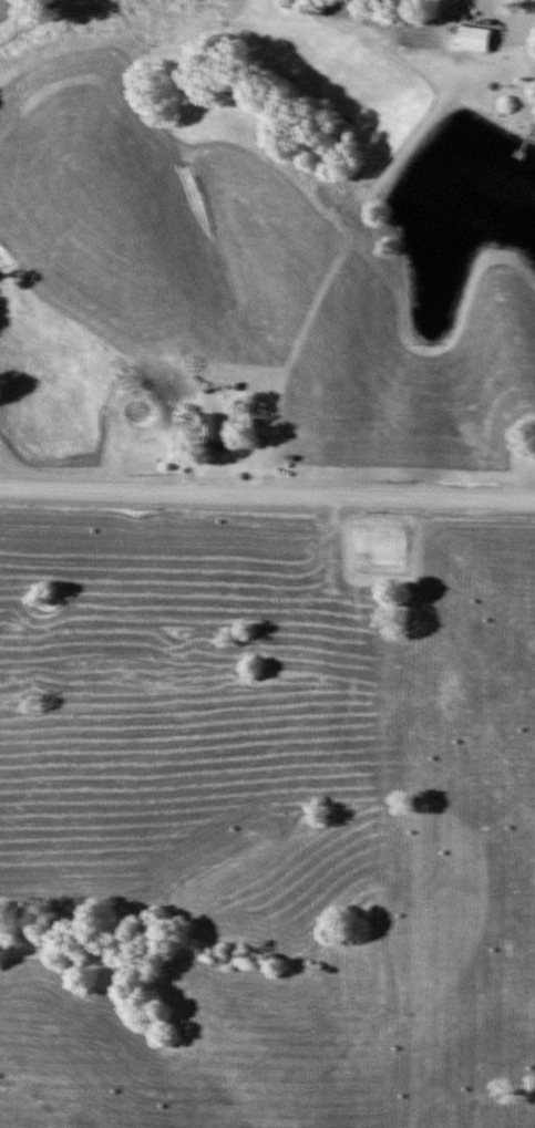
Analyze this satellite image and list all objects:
road: (532, 10)
building: (475, 39)
building: (192, 417)
building: (217, 432)
road: (267, 496)

